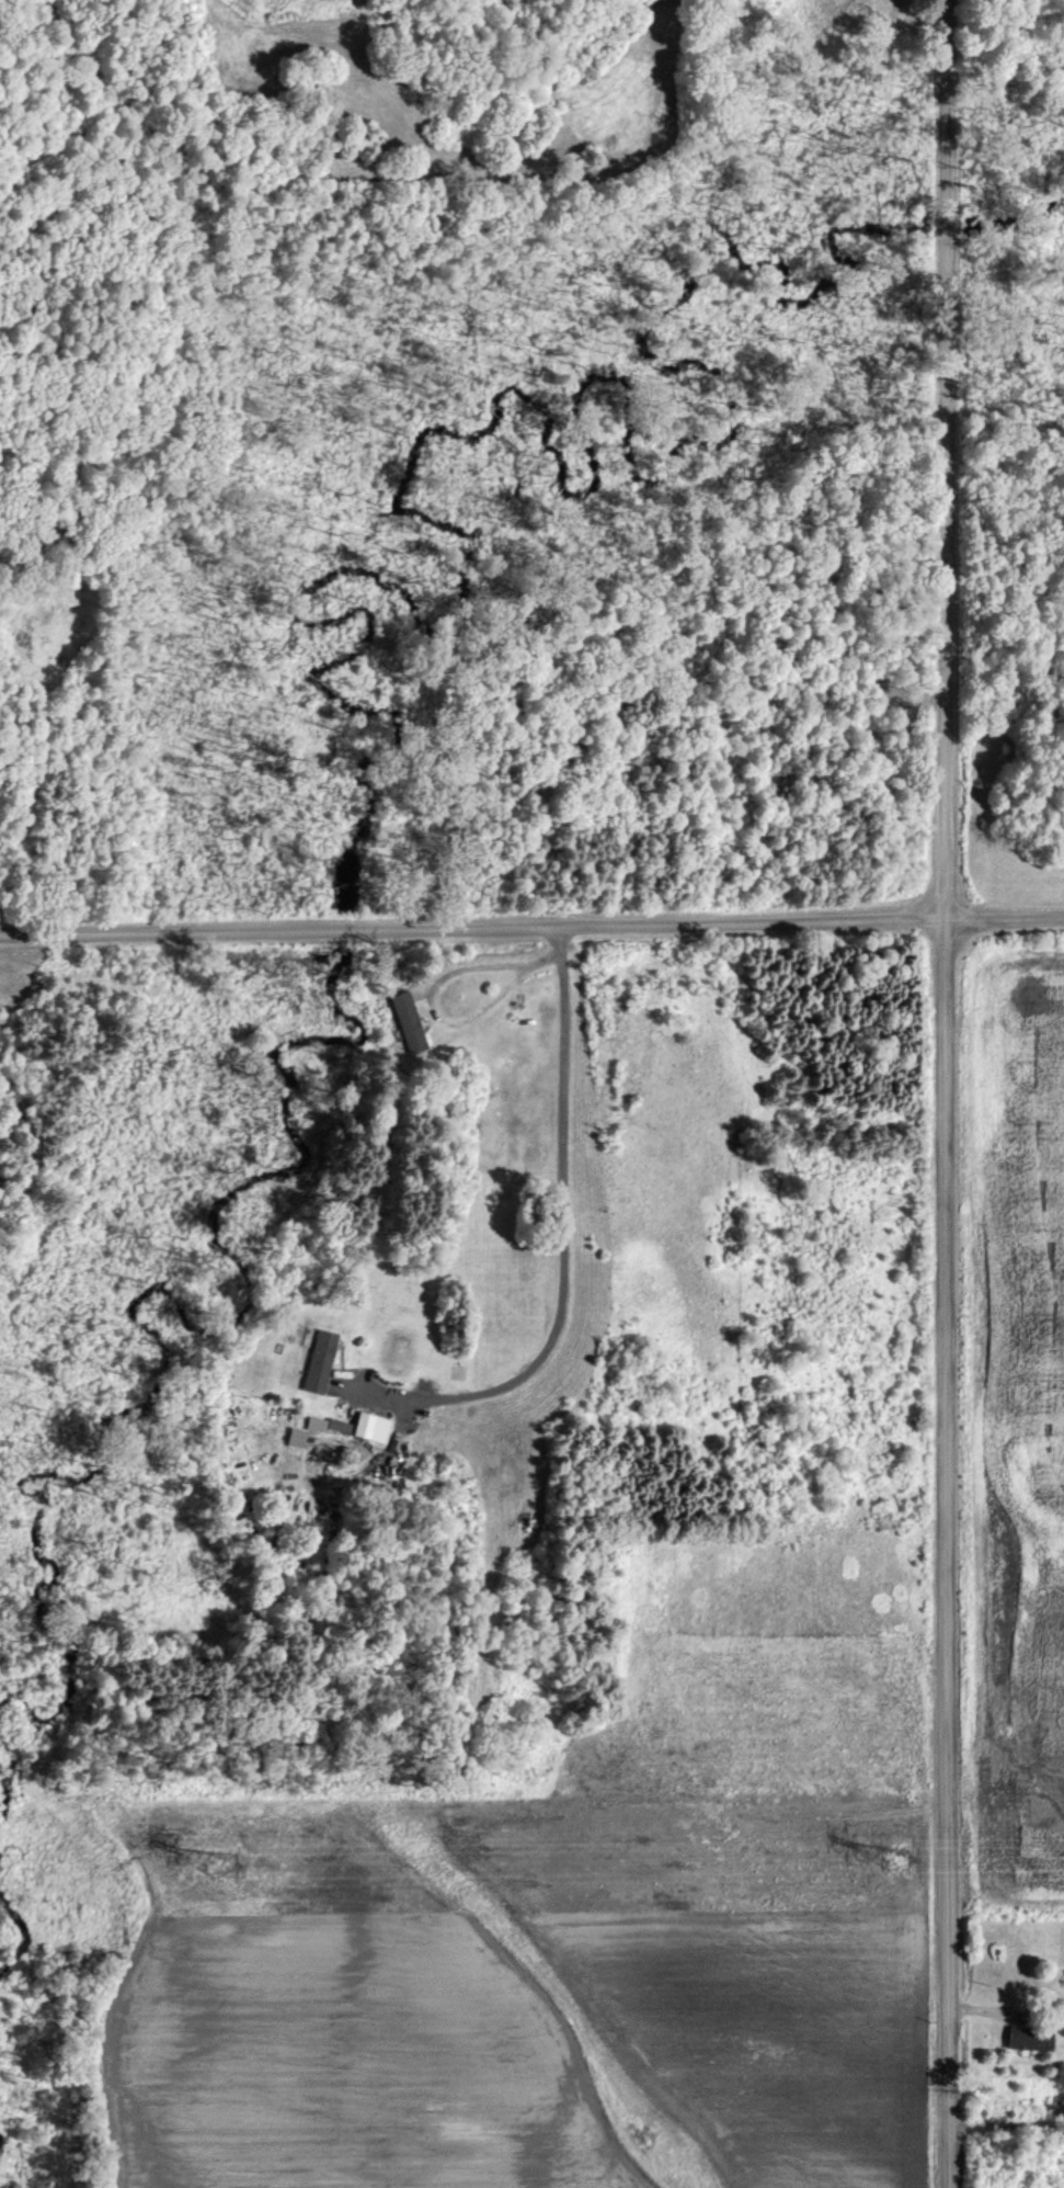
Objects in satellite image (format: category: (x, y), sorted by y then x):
road: (531, 930)
building: (409, 1020)
road: (946, 1093)
road: (564, 1247)
building: (320, 1361)
building: (317, 1422)
building: (339, 1425)
building: (371, 1426)
building: (298, 1436)
power tower: (900, 1858)
power tower: (227, 1866)
building: (1030, 2038)
road: (1009, 2121)

